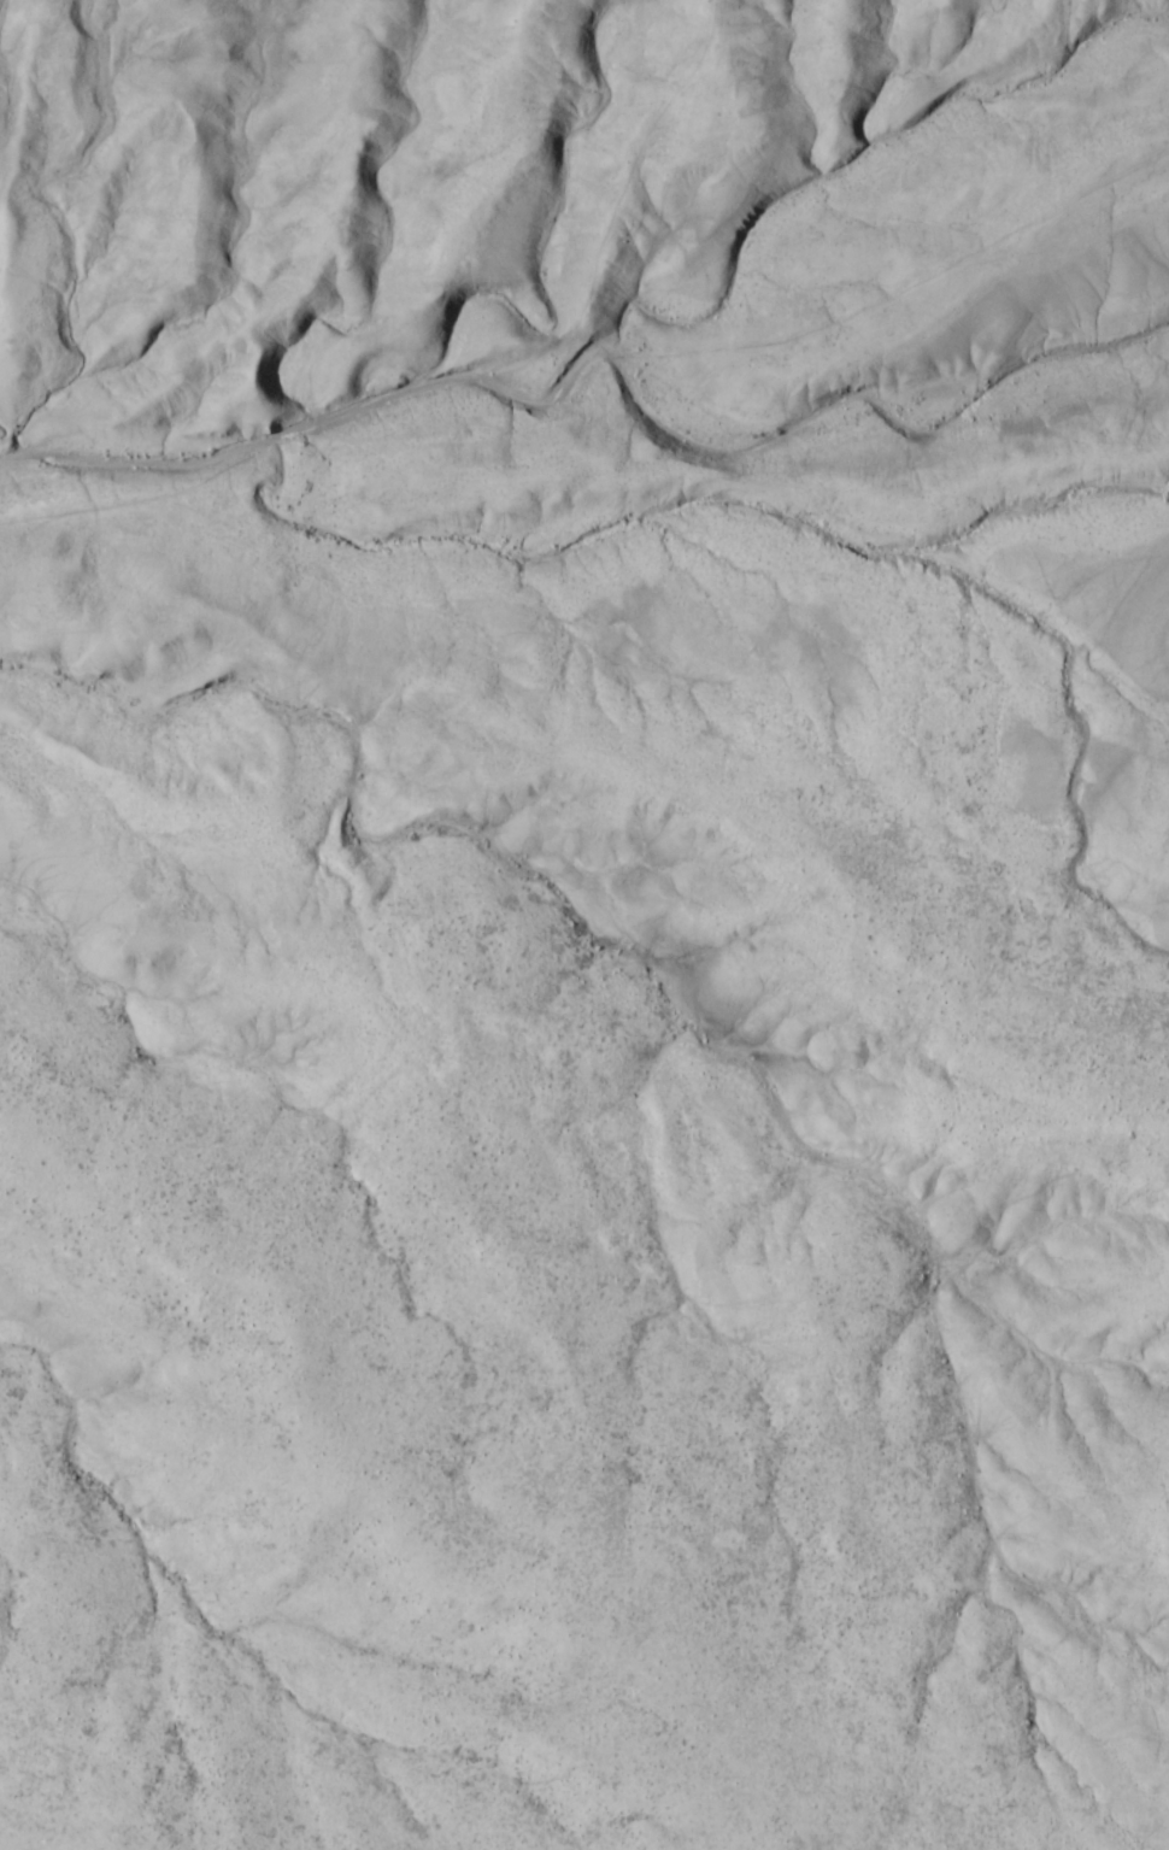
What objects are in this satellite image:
road: (612, 369)

